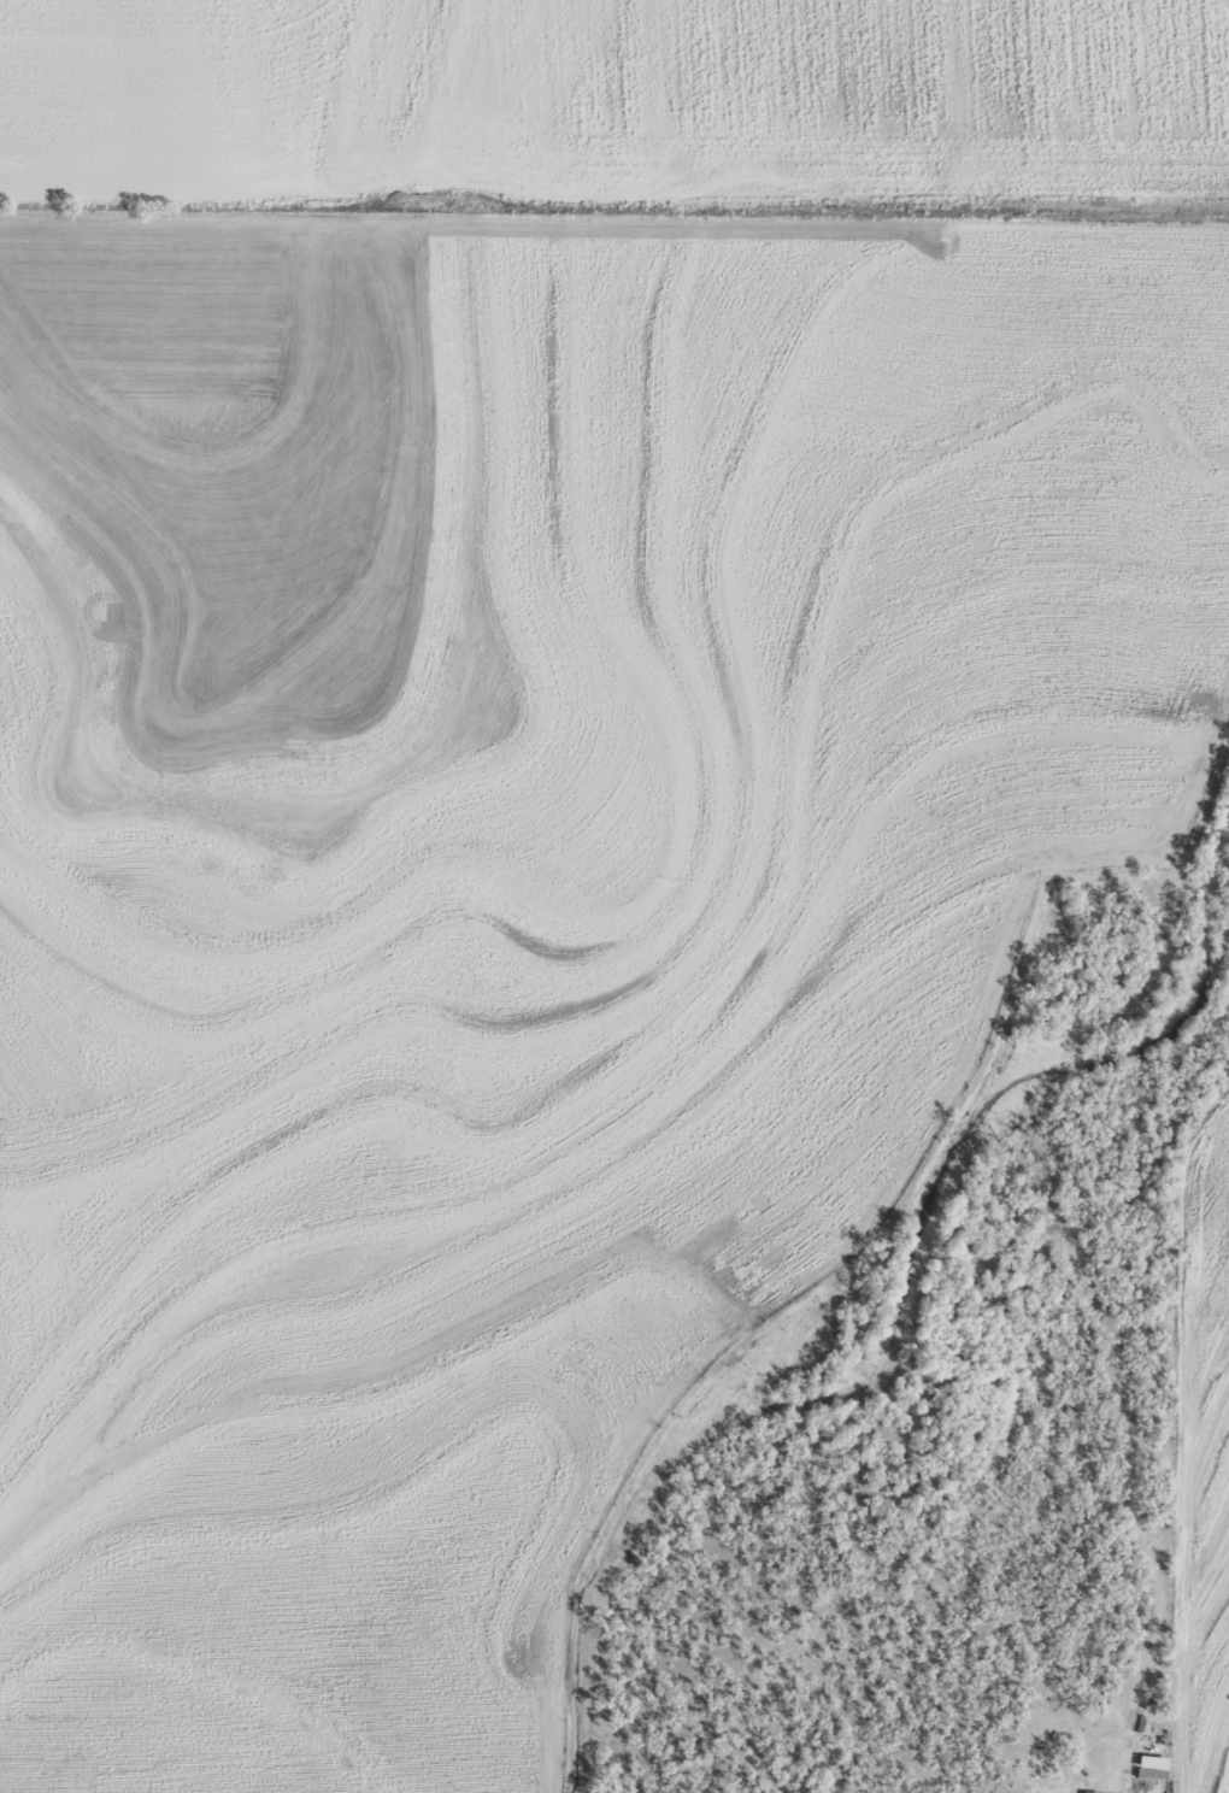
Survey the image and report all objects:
building: (1157, 1774)
building: (1094, 1792)

